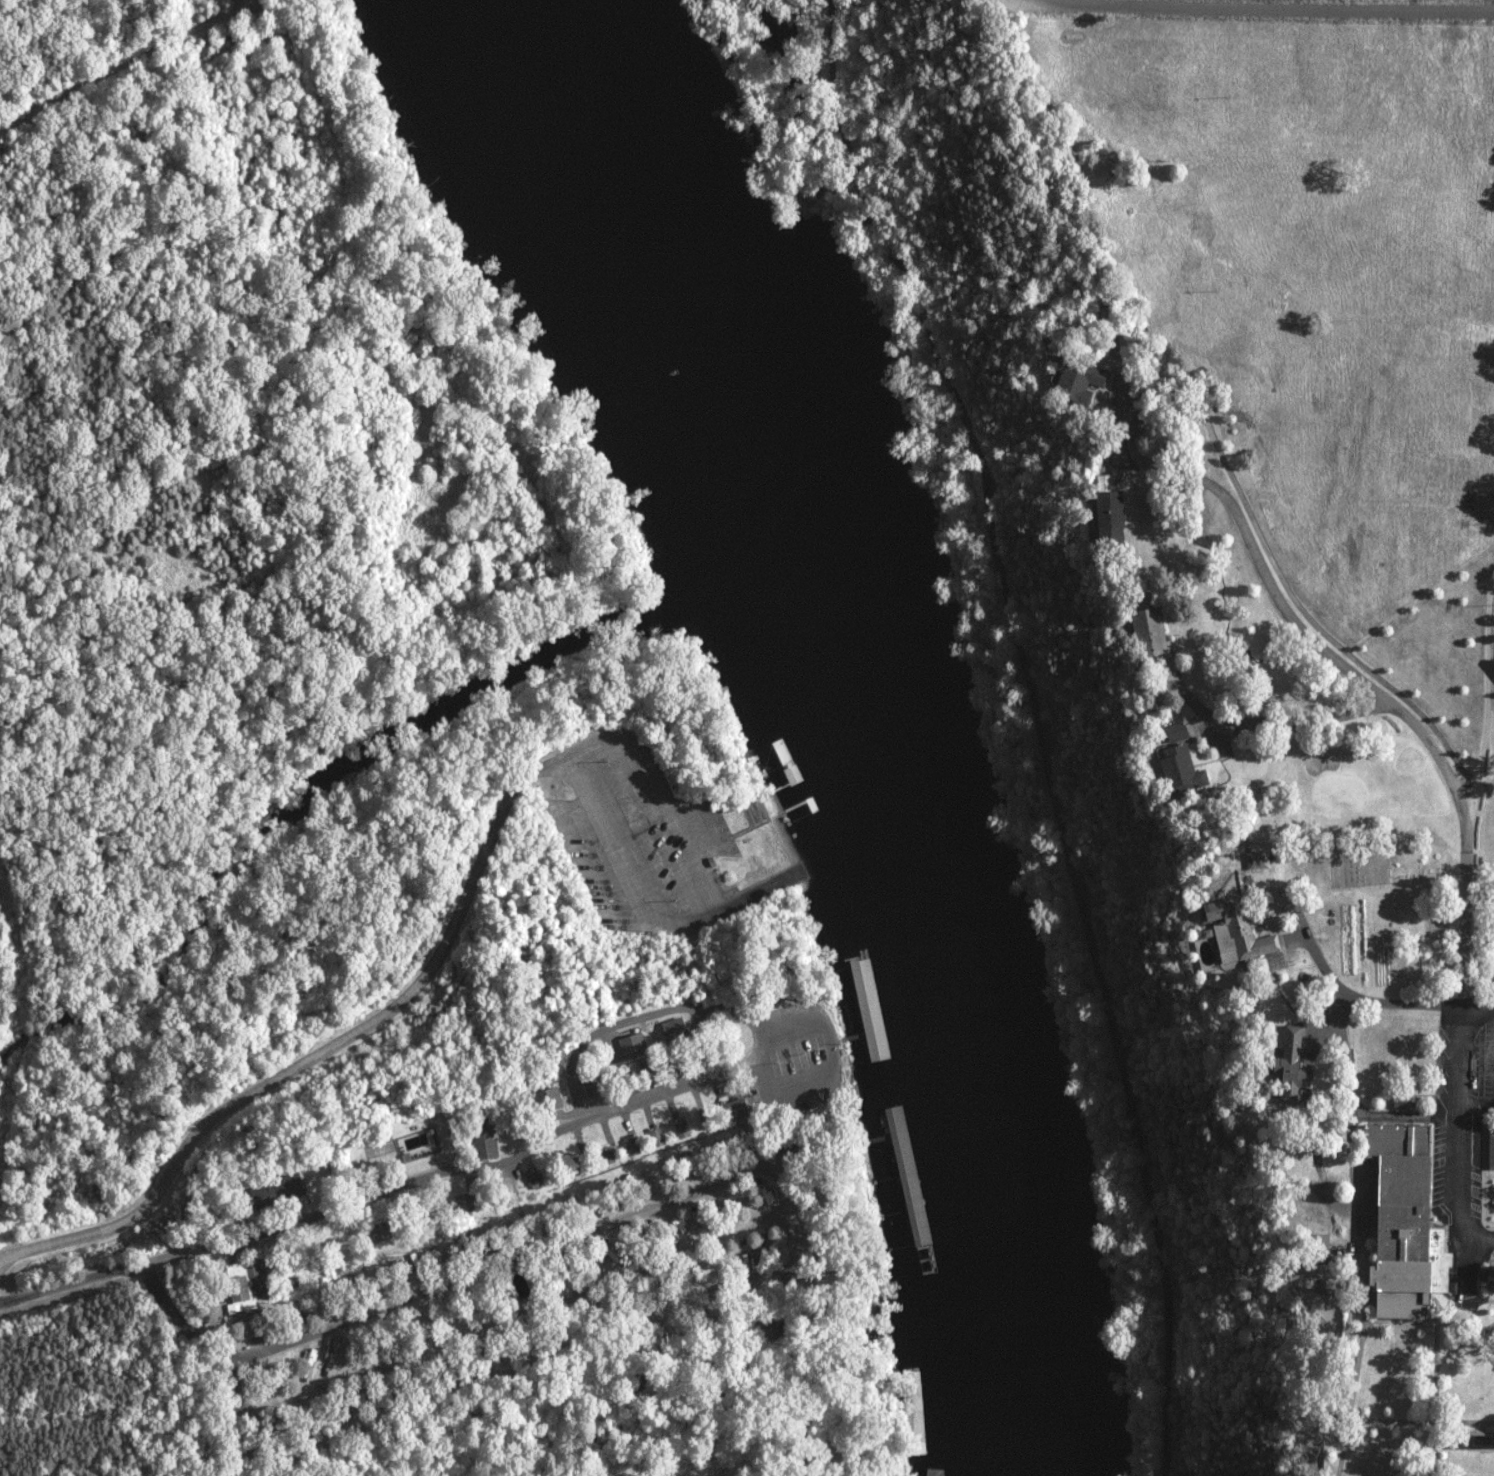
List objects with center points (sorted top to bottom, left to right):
road: (1272, 11)
building: (1071, 378)
building: (1105, 512)
building: (1144, 634)
road: (1374, 690)
river: (839, 714)
building: (1173, 732)
building: (1178, 772)
building: (1254, 860)
road: (708, 902)
building: (1232, 931)
road: (1368, 998)
building: (873, 1009)
road: (648, 1014)
building: (678, 1031)
building: (635, 1046)
road: (321, 1050)
parking lot: (1487, 1052)
building: (1285, 1066)
building: (595, 1085)
building: (1399, 1100)
building: (682, 1129)
road: (1465, 1131)
building: (659, 1137)
building: (491, 1141)
building: (1489, 1150)
building: (908, 1162)
road: (402, 1185)
building: (284, 1190)
building: (1393, 1221)
building: (1314, 1248)
building: (1484, 1280)
building: (244, 1287)
road: (519, 1314)
building: (256, 1323)
road: (501, 1374)
building: (1330, 1475)

